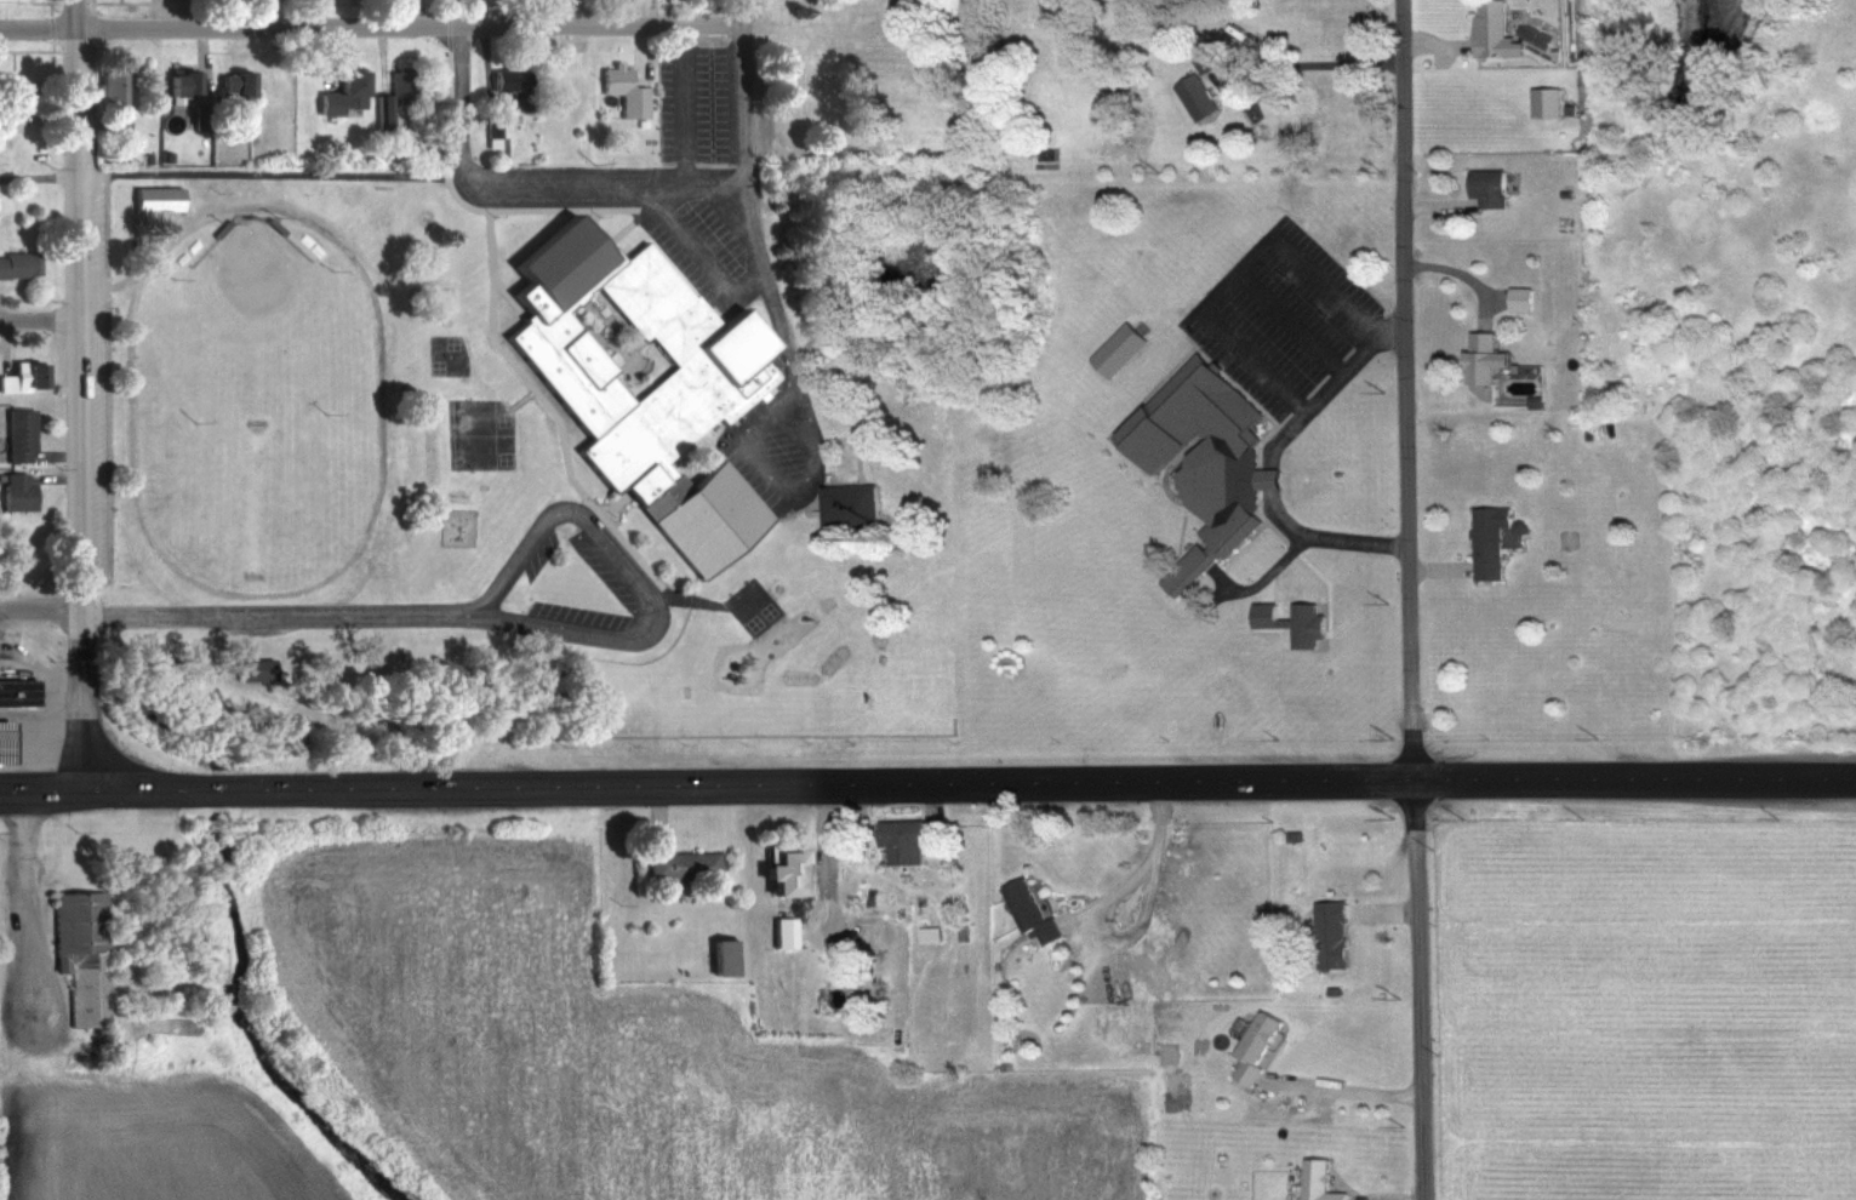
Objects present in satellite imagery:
road: (628, 12)
road: (646, 12)
road: (739, 12)
road: (315, 13)
road: (75, 15)
road: (165, 15)
road: (369, 27)
building: (1491, 29)
building: (1238, 33)
road: (1435, 38)
road: (638, 51)
building: (1203, 51)
road: (1257, 51)
building: (1552, 51)
road: (201, 52)
road: (378, 53)
road: (325, 55)
building: (507, 78)
building: (177, 79)
road: (84, 80)
building: (230, 80)
building: (621, 88)
building: (338, 90)
building: (1193, 92)
building: (108, 97)
building: (1542, 98)
parking lot: (693, 101)
building: (10, 104)
building: (379, 105)
building: (1567, 105)
building: (492, 126)
building: (165, 154)
building: (144, 155)
building: (341, 155)
road: (230, 172)
building: (1484, 182)
road: (520, 195)
building: (153, 196)
road: (1434, 202)
road: (543, 206)
road: (743, 216)
building: (272, 224)
building: (217, 225)
road: (606, 238)
parking lot: (702, 242)
building: (309, 244)
building: (187, 250)
road: (704, 259)
building: (18, 267)
road: (1240, 269)
road: (1460, 270)
road: (493, 281)
building: (1518, 296)
parking lot: (1283, 316)
road: (39, 321)
road: (1291, 321)
building: (1123, 348)
park: (446, 353)
building: (1479, 353)
building: (21, 377)
building: (698, 385)
road: (1407, 388)
park: (259, 389)
road: (518, 396)
building: (1532, 399)
road: (547, 406)
road: (79, 408)
park: (479, 430)
building: (16, 435)
road: (858, 435)
parking lot: (778, 450)
building: (1198, 458)
road: (1272, 459)
road: (759, 468)
building: (13, 491)
road: (376, 492)
road: (609, 501)
building: (849, 502)
road: (584, 522)
building: (1486, 537)
road: (1438, 567)
parking lot: (615, 570)
road: (689, 596)
park: (749, 601)
road: (285, 612)
road: (40, 613)
building: (1297, 623)
building: (251, 665)
building: (15, 687)
building: (2, 739)
road: (1634, 777)
road: (706, 783)
building: (904, 838)
building: (679, 864)
building: (779, 870)
building: (1030, 910)
building: (864, 931)
building: (1331, 933)
building: (79, 952)
building: (725, 956)
road: (1418, 988)
crop: (613, 1045)
building: (1255, 1047)
road: (1350, 1086)
building: (1318, 1181)

